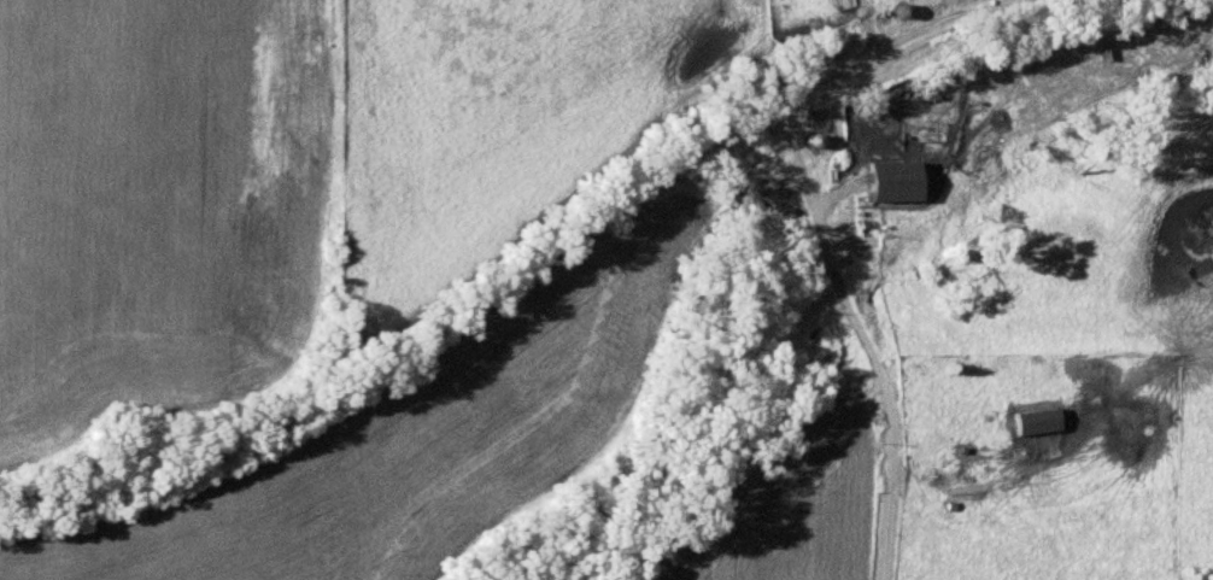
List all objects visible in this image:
building: (897, 178)
road: (879, 364)
building: (1038, 418)

